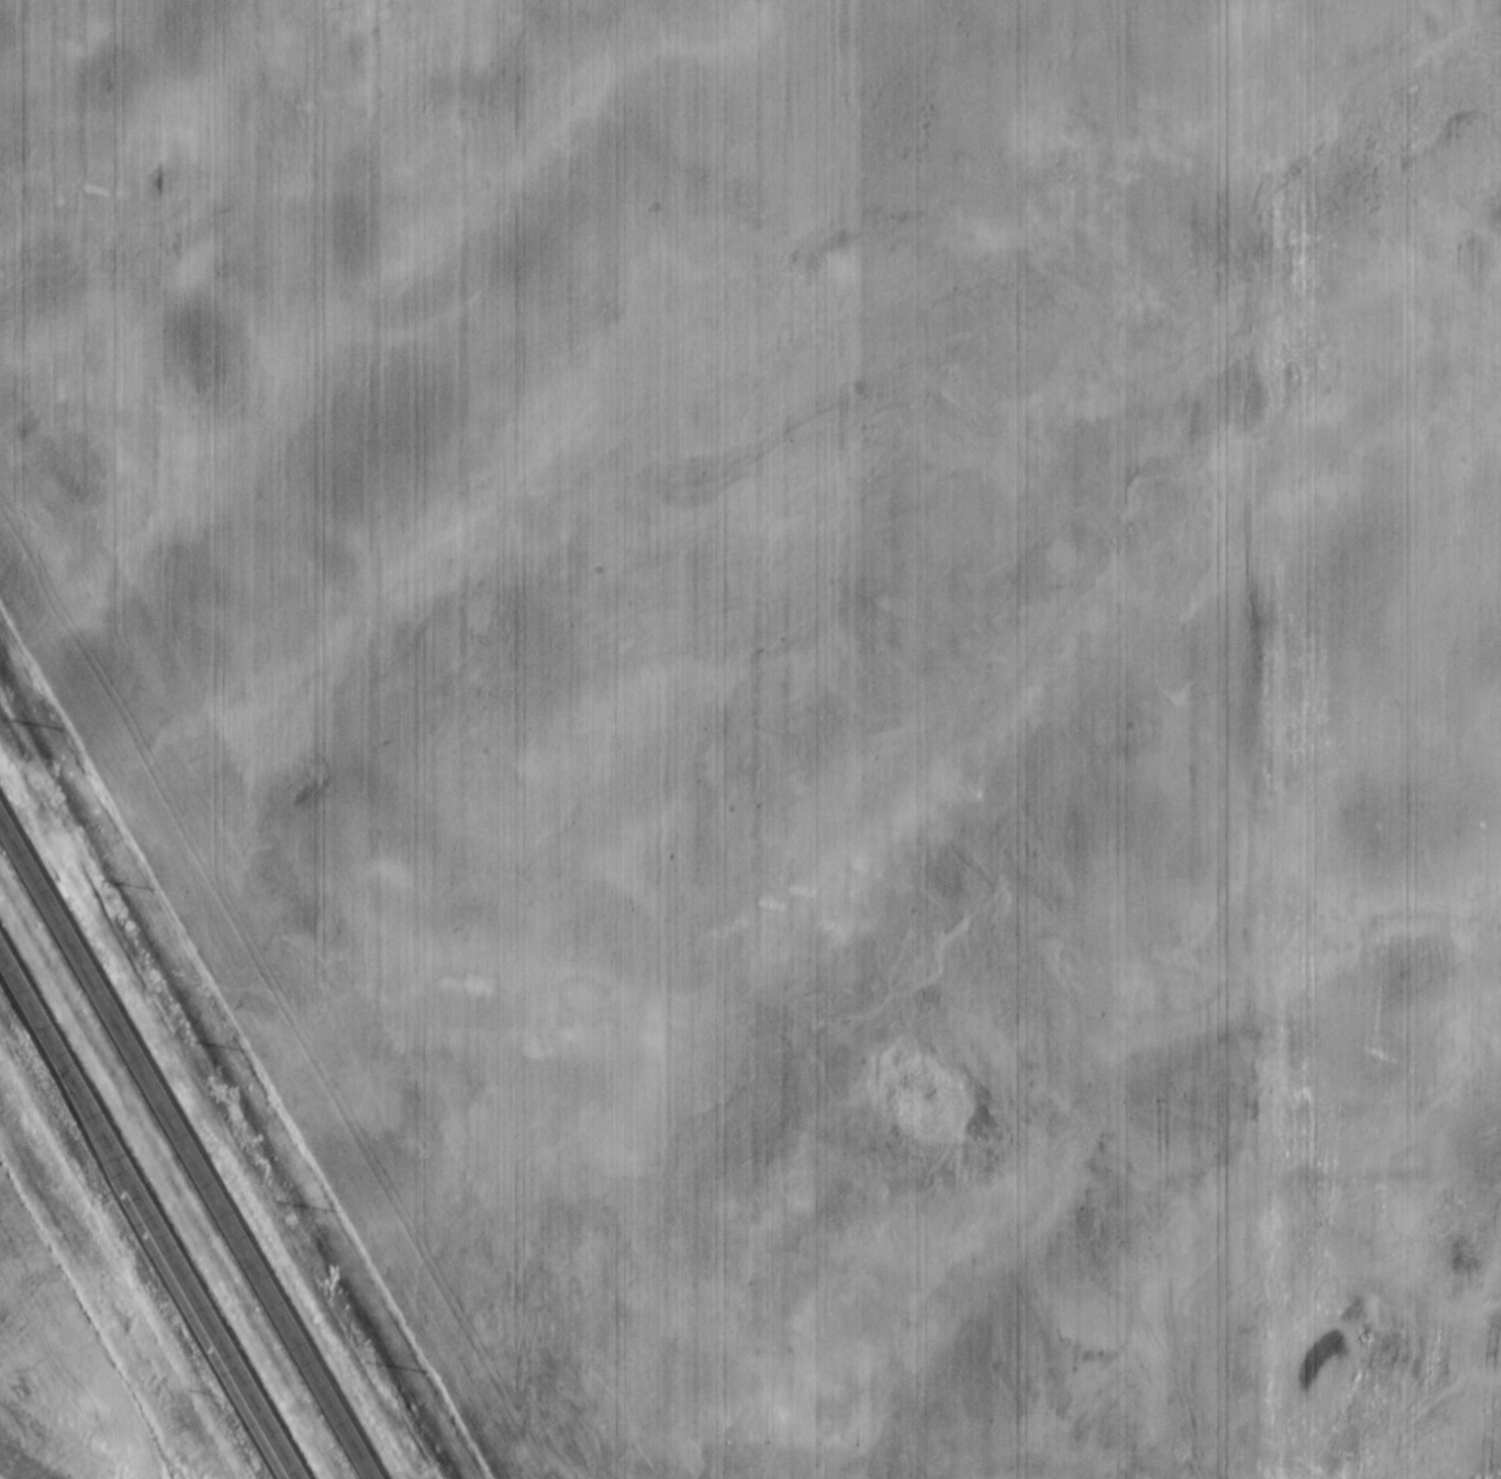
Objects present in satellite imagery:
road: (1251, 739)
road: (63, 1062)
road: (185, 1150)
road: (213, 1327)

